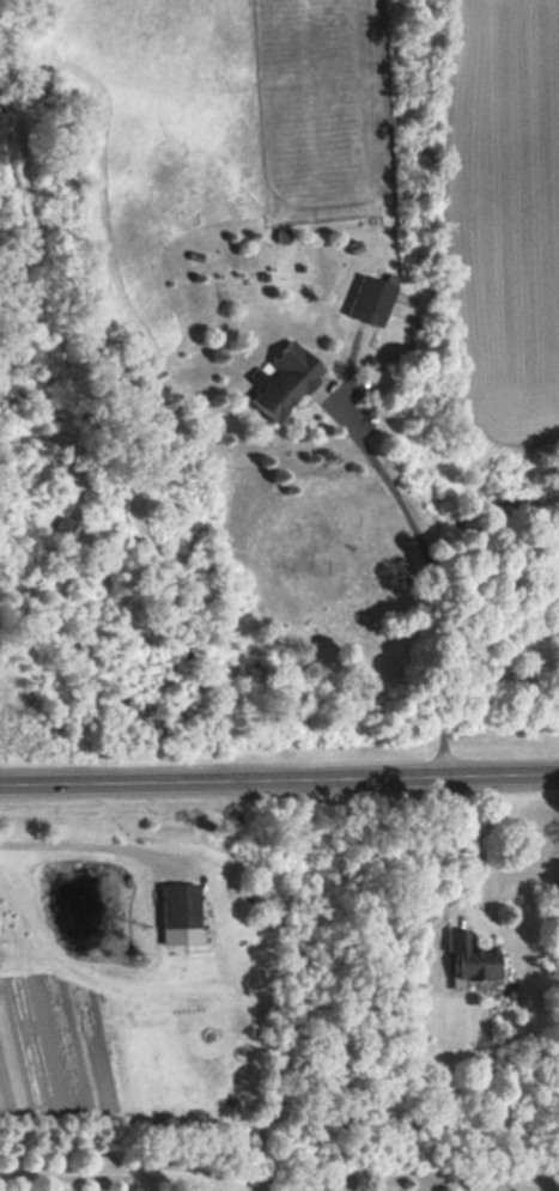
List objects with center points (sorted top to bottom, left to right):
crop: (509, 207)
building: (371, 299)
building: (284, 379)
road: (433, 573)
road: (279, 779)
road: (87, 846)
road: (457, 846)
building: (178, 914)
building: (469, 958)
road: (122, 1171)
building: (516, 1190)

